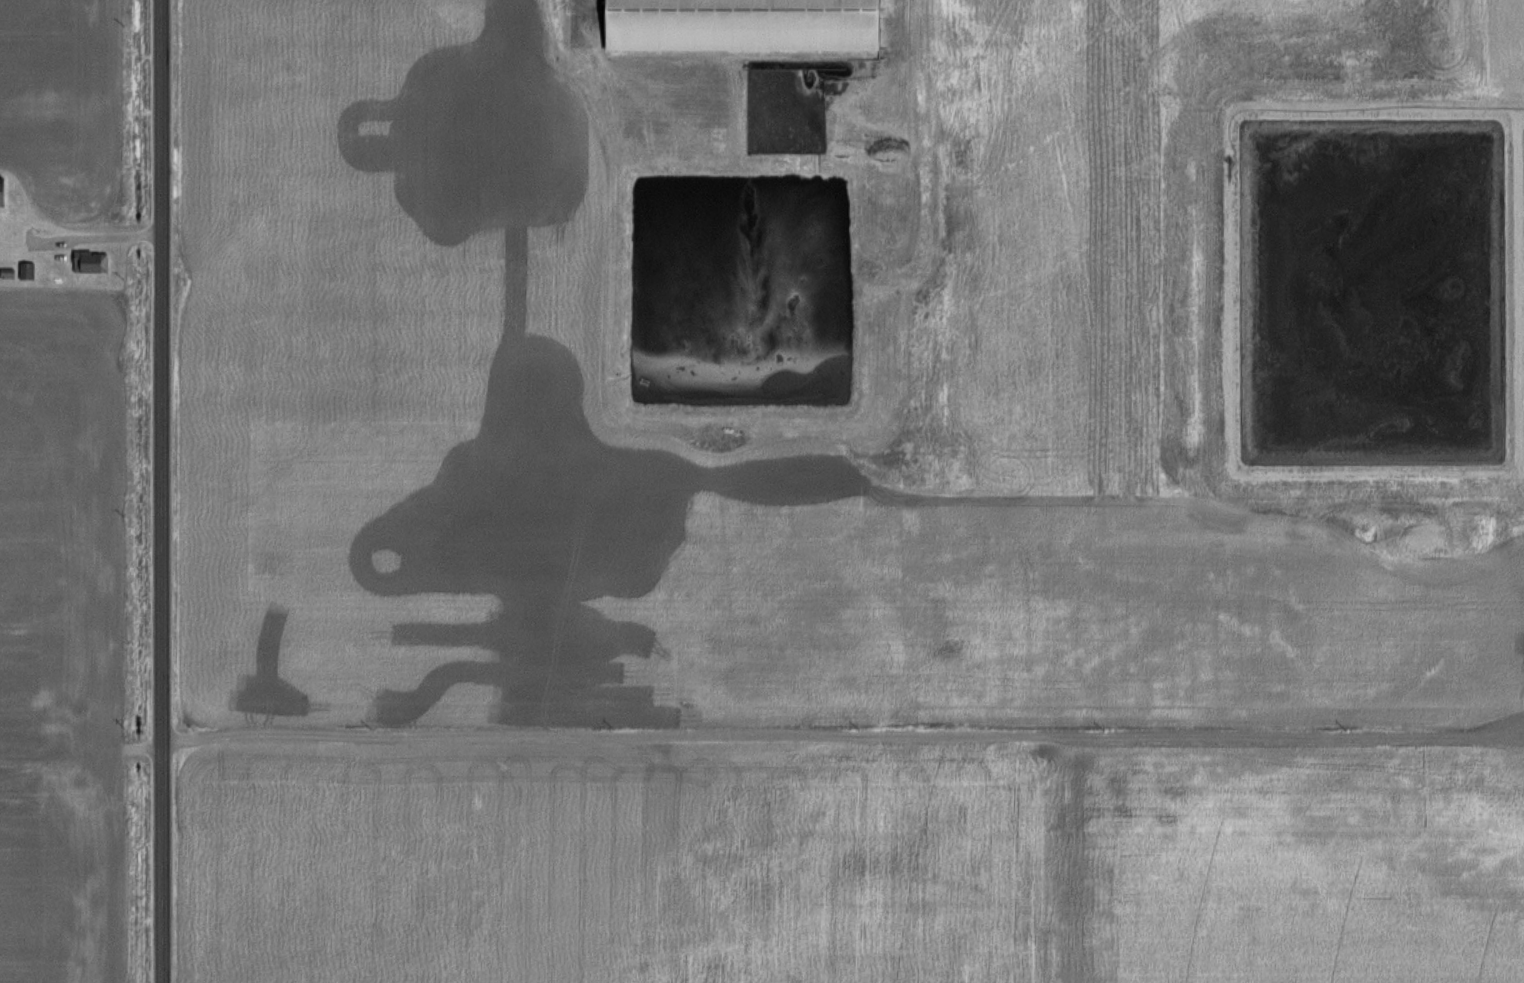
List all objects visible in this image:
building: (739, 24)
building: (1, 190)
building: (90, 261)
building: (26, 270)
road: (164, 491)

